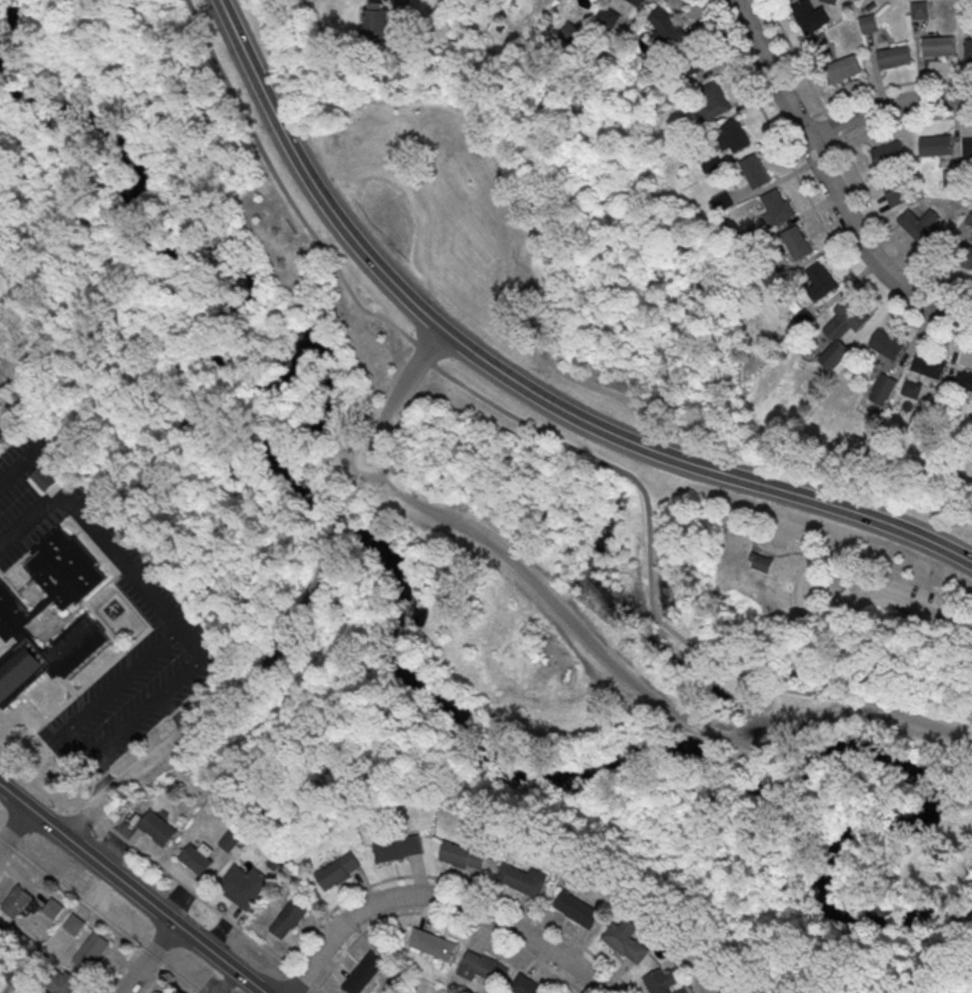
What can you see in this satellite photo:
building: (636, 2)
building: (828, 2)
building: (404, 3)
building: (918, 9)
building: (964, 10)
building: (810, 18)
building: (608, 19)
road: (242, 22)
building: (867, 23)
building: (665, 24)
building: (378, 25)
river: (8, 27)
building: (570, 33)
building: (820, 45)
building: (936, 45)
building: (967, 47)
building: (893, 56)
building: (693, 62)
building: (843, 71)
road: (895, 84)
building: (715, 98)
road: (886, 106)
road: (834, 130)
building: (735, 134)
building: (935, 147)
building: (967, 149)
building: (889, 155)
building: (714, 164)
building: (756, 171)
building: (952, 180)
road: (828, 181)
road: (808, 197)
building: (897, 199)
building: (724, 203)
building: (777, 208)
building: (969, 219)
building: (923, 229)
road: (889, 233)
building: (755, 237)
building: (798, 242)
building: (967, 257)
road: (31, 268)
building: (772, 276)
building: (822, 284)
road: (54, 320)
building: (806, 320)
road: (158, 325)
building: (844, 333)
building: (888, 347)
building: (930, 368)
building: (965, 382)
road: (514, 384)
building: (884, 391)
road: (401, 395)
road: (547, 435)
park: (436, 442)
parking lot: (364, 461)
road: (17, 467)
building: (333, 467)
building: (48, 475)
road: (360, 477)
road: (659, 477)
road: (351, 498)
road: (184, 509)
road: (343, 520)
road: (96, 530)
road: (754, 534)
road: (317, 541)
road: (786, 554)
building: (761, 561)
road: (798, 589)
parking lot: (854, 591)
road: (927, 605)
river: (396, 612)
road: (690, 613)
building: (16, 623)
road: (805, 629)
road: (286, 641)
road: (747, 641)
road: (195, 643)
road: (233, 660)
park: (837, 660)
road: (263, 670)
road: (783, 673)
road: (125, 679)
road: (637, 688)
road: (151, 708)
road: (177, 714)
road: (82, 744)
road: (103, 773)
road: (128, 775)
building: (157, 827)
road: (15, 829)
building: (230, 840)
building: (400, 848)
building: (463, 855)
building: (198, 858)
road: (8, 867)
building: (339, 870)
building: (522, 878)
building: (244, 886)
road: (131, 890)
road: (439, 899)
building: (17, 905)
building: (53, 908)
building: (577, 909)
road: (215, 912)
building: (289, 917)
road: (96, 918)
building: (74, 924)
building: (3, 931)
building: (628, 943)
building: (433, 946)
building: (92, 954)
road: (147, 958)
building: (482, 966)
building: (363, 973)
road: (155, 981)
building: (665, 982)
building: (67, 985)
building: (525, 985)
park: (776, 991)

